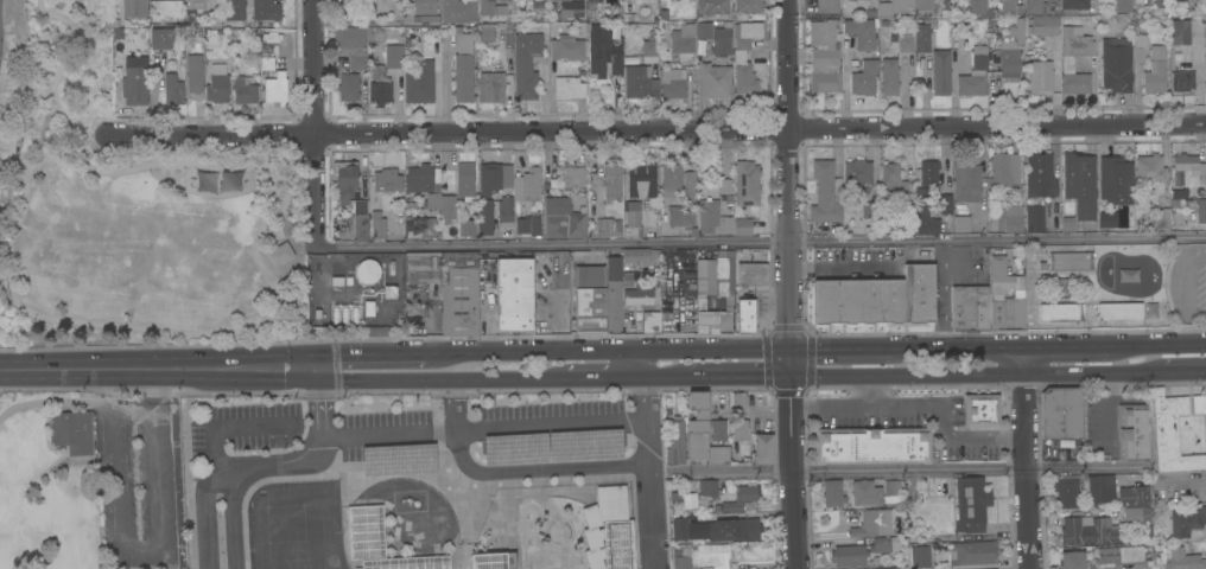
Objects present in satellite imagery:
building: (166, 0)
building: (400, 0)
building: (503, 0)
building: (1052, 0)
building: (594, 1)
building: (1161, 2)
building: (923, 4)
building: (748, 6)
building: (826, 6)
building: (1033, 6)
building: (1077, 6)
building: (1123, 6)
building: (425, 7)
building: (711, 7)
building: (134, 8)
building: (490, 8)
building: (893, 8)
building: (977, 8)
building: (1002, 8)
building: (193, 9)
building: (234, 9)
building: (266, 9)
building: (569, 9)
building: (458, 11)
road: (57, 14)
building: (426, 19)
building: (1042, 27)
building: (703, 31)
building: (487, 32)
building: (1180, 32)
building: (861, 33)
building: (940, 34)
building: (922, 37)
building: (160, 39)
building: (721, 41)
building: (681, 44)
building: (906, 44)
building: (350, 45)
building: (1011, 47)
building: (1138, 47)
building: (566, 50)
building: (603, 52)
building: (744, 55)
building: (394, 57)
building: (824, 57)
building: (159, 59)
building: (1067, 60)
building: (266, 63)
building: (1116, 64)
building: (526, 65)
building: (463, 69)
building: (1155, 71)
building: (940, 72)
building: (193, 73)
building: (975, 73)
road: (57, 75)
building: (642, 75)
building: (1180, 76)
building: (889, 77)
building: (1040, 77)
building: (864, 78)
building: (217, 82)
building: (715, 82)
building: (672, 83)
building: (418, 84)
building: (134, 85)
building: (348, 87)
building: (379, 87)
building: (490, 87)
building: (569, 88)
building: (275, 89)
building: (172, 90)
building: (243, 91)
road: (316, 124)
road: (761, 129)
road: (214, 136)
building: (1149, 168)
building: (1188, 168)
building: (1004, 170)
building: (928, 173)
road: (791, 174)
building: (858, 174)
building: (1040, 175)
building: (572, 177)
building: (494, 178)
building: (966, 178)
building: (419, 179)
building: (891, 179)
building: (641, 180)
building: (747, 180)
building: (1115, 180)
building: (387, 181)
building: (465, 181)
building: (671, 181)
building: (611, 183)
building: (1080, 184)
building: (527, 185)
building: (688, 188)
building: (825, 193)
building: (350, 197)
building: (433, 203)
building: (945, 204)
park: (126, 206)
building: (449, 210)
building: (870, 210)
building: (716, 211)
building: (1201, 211)
building: (923, 213)
building: (504, 216)
building: (680, 217)
building: (1011, 218)
building: (1034, 218)
building: (563, 219)
building: (1105, 219)
building: (1163, 219)
building: (631, 220)
building: (480, 223)
building: (528, 224)
building: (961, 224)
building: (377, 226)
building: (420, 228)
building: (608, 228)
building: (742, 228)
road: (761, 244)
building: (278, 254)
building: (634, 255)
building: (1071, 262)
building: (542, 269)
building: (751, 274)
building: (715, 275)
building: (628, 280)
building: (449, 287)
building: (997, 292)
building: (614, 293)
building: (514, 295)
building: (639, 298)
building: (589, 299)
building: (876, 300)
building: (970, 308)
building: (1119, 312)
building: (1061, 313)
building: (745, 317)
building: (716, 320)
building: (650, 322)
road: (260, 324)
road: (1159, 345)
road: (1066, 346)
road: (958, 347)
traffic signals: (788, 349)
road: (840, 349)
road: (607, 351)
road: (369, 353)
road: (159, 369)
traffic signals: (318, 369)
road: (1185, 371)
road: (976, 373)
road: (665, 375)
road: (738, 375)
traffic signals: (788, 375)
road: (603, 376)
road: (439, 381)
building: (738, 404)
building: (1199, 405)
road: (886, 407)
road: (829, 408)
building: (980, 410)
road: (150, 411)
building: (1061, 413)
road: (552, 424)
building: (697, 426)
parking lot: (255, 427)
building: (718, 430)
building: (740, 430)
building: (72, 431)
building: (1170, 431)
road: (389, 433)
building: (1132, 433)
parking lot: (386, 435)
road: (970, 436)
road: (207, 441)
building: (675, 443)
building: (871, 446)
building: (762, 448)
building: (718, 455)
road: (307, 458)
road: (1023, 458)
road: (648, 459)
road: (789, 459)
road: (894, 468)
road: (513, 471)
road: (1188, 480)
park: (91, 488)
building: (891, 488)
building: (1084, 490)
building: (832, 493)
building: (865, 493)
building: (700, 494)
building: (1135, 497)
building: (741, 498)
building: (971, 505)
road: (236, 516)
building: (1137, 516)
building: (1183, 520)
building: (872, 524)
building: (680, 529)
building: (734, 530)
building: (366, 532)
building: (1092, 532)
building: (618, 544)
building: (886, 544)
building: (972, 552)
building: (1121, 555)
building: (700, 556)
building: (848, 556)
building: (920, 556)
building: (1179, 558)
building: (1075, 560)
building: (488, 561)
building: (407, 563)
building: (1141, 567)
building: (893, 568)

